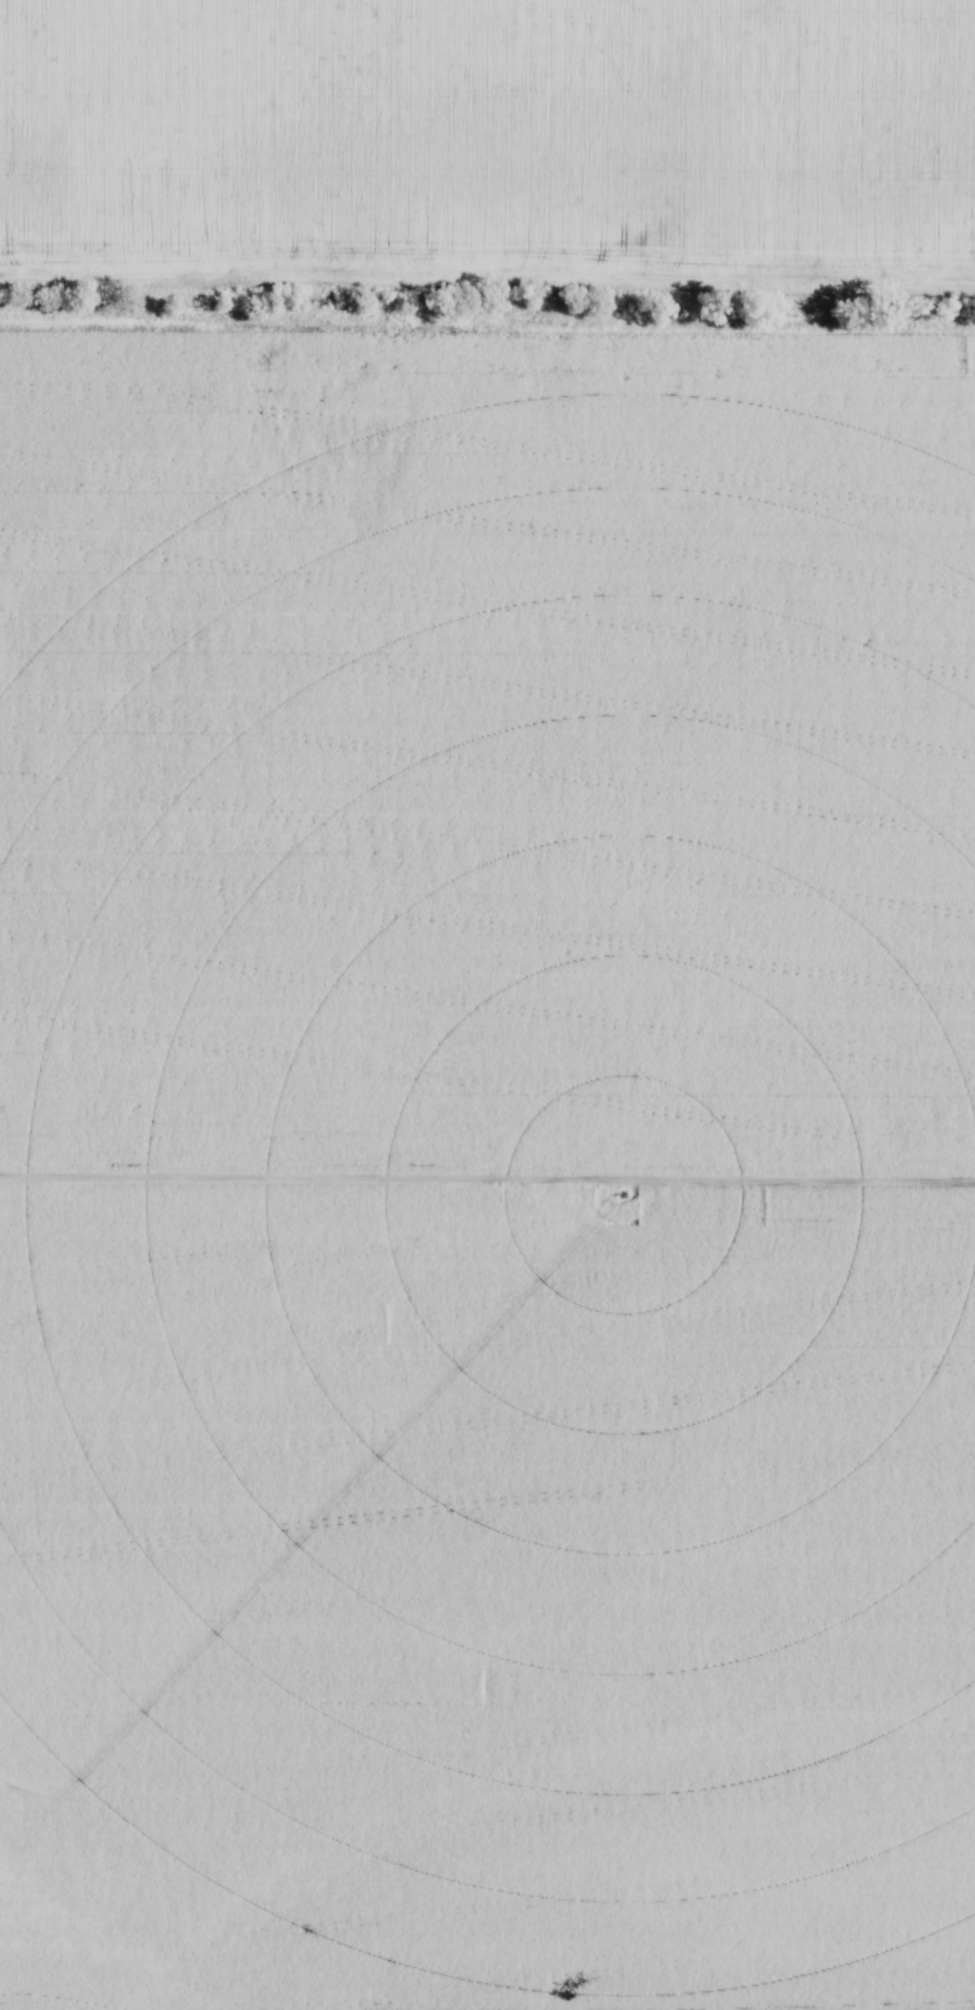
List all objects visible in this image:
crop: (488, 1167)

